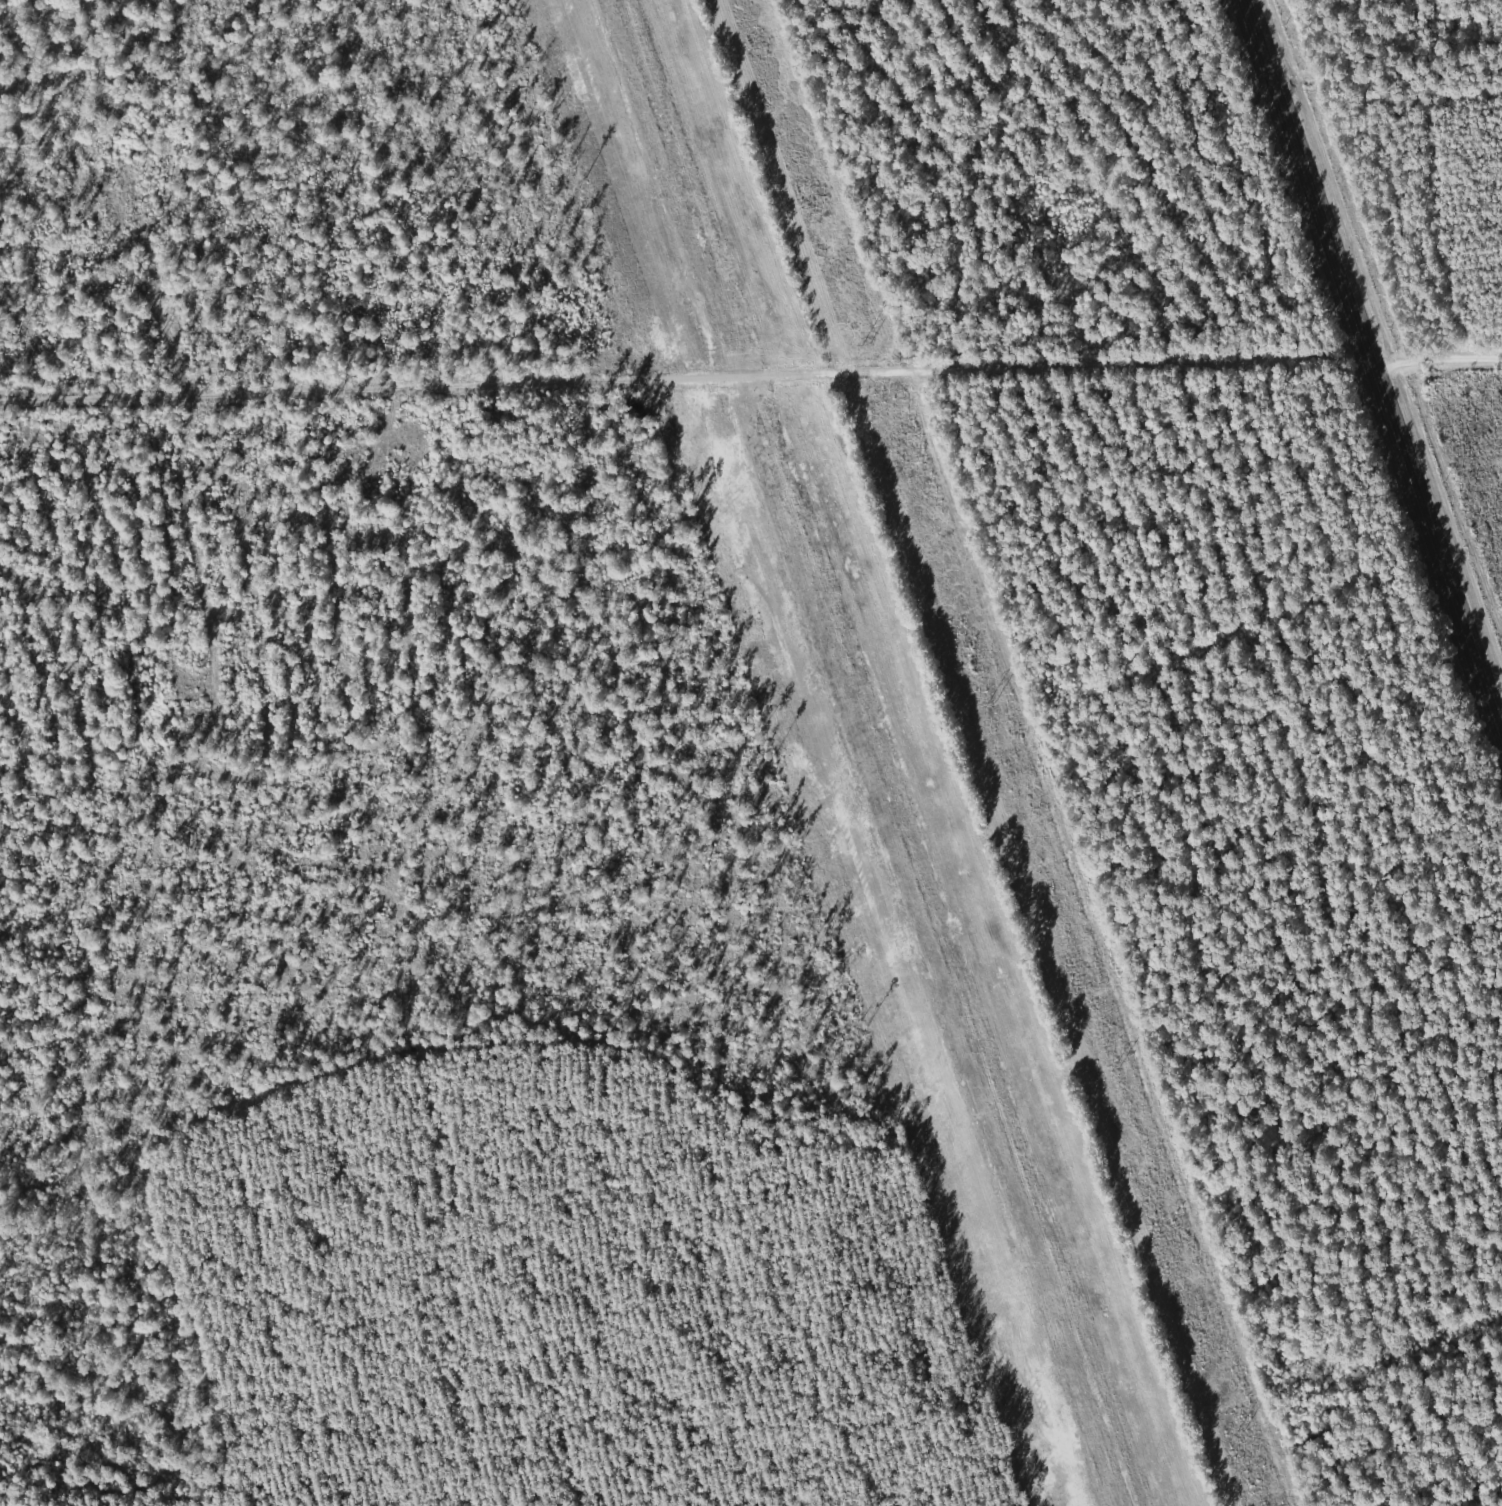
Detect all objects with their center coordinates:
power tower: (864, 345)
road: (750, 371)
road: (1371, 371)
power tower: (988, 704)
road: (1134, 937)
power tower: (1115, 1068)
power tower: (1240, 1433)

